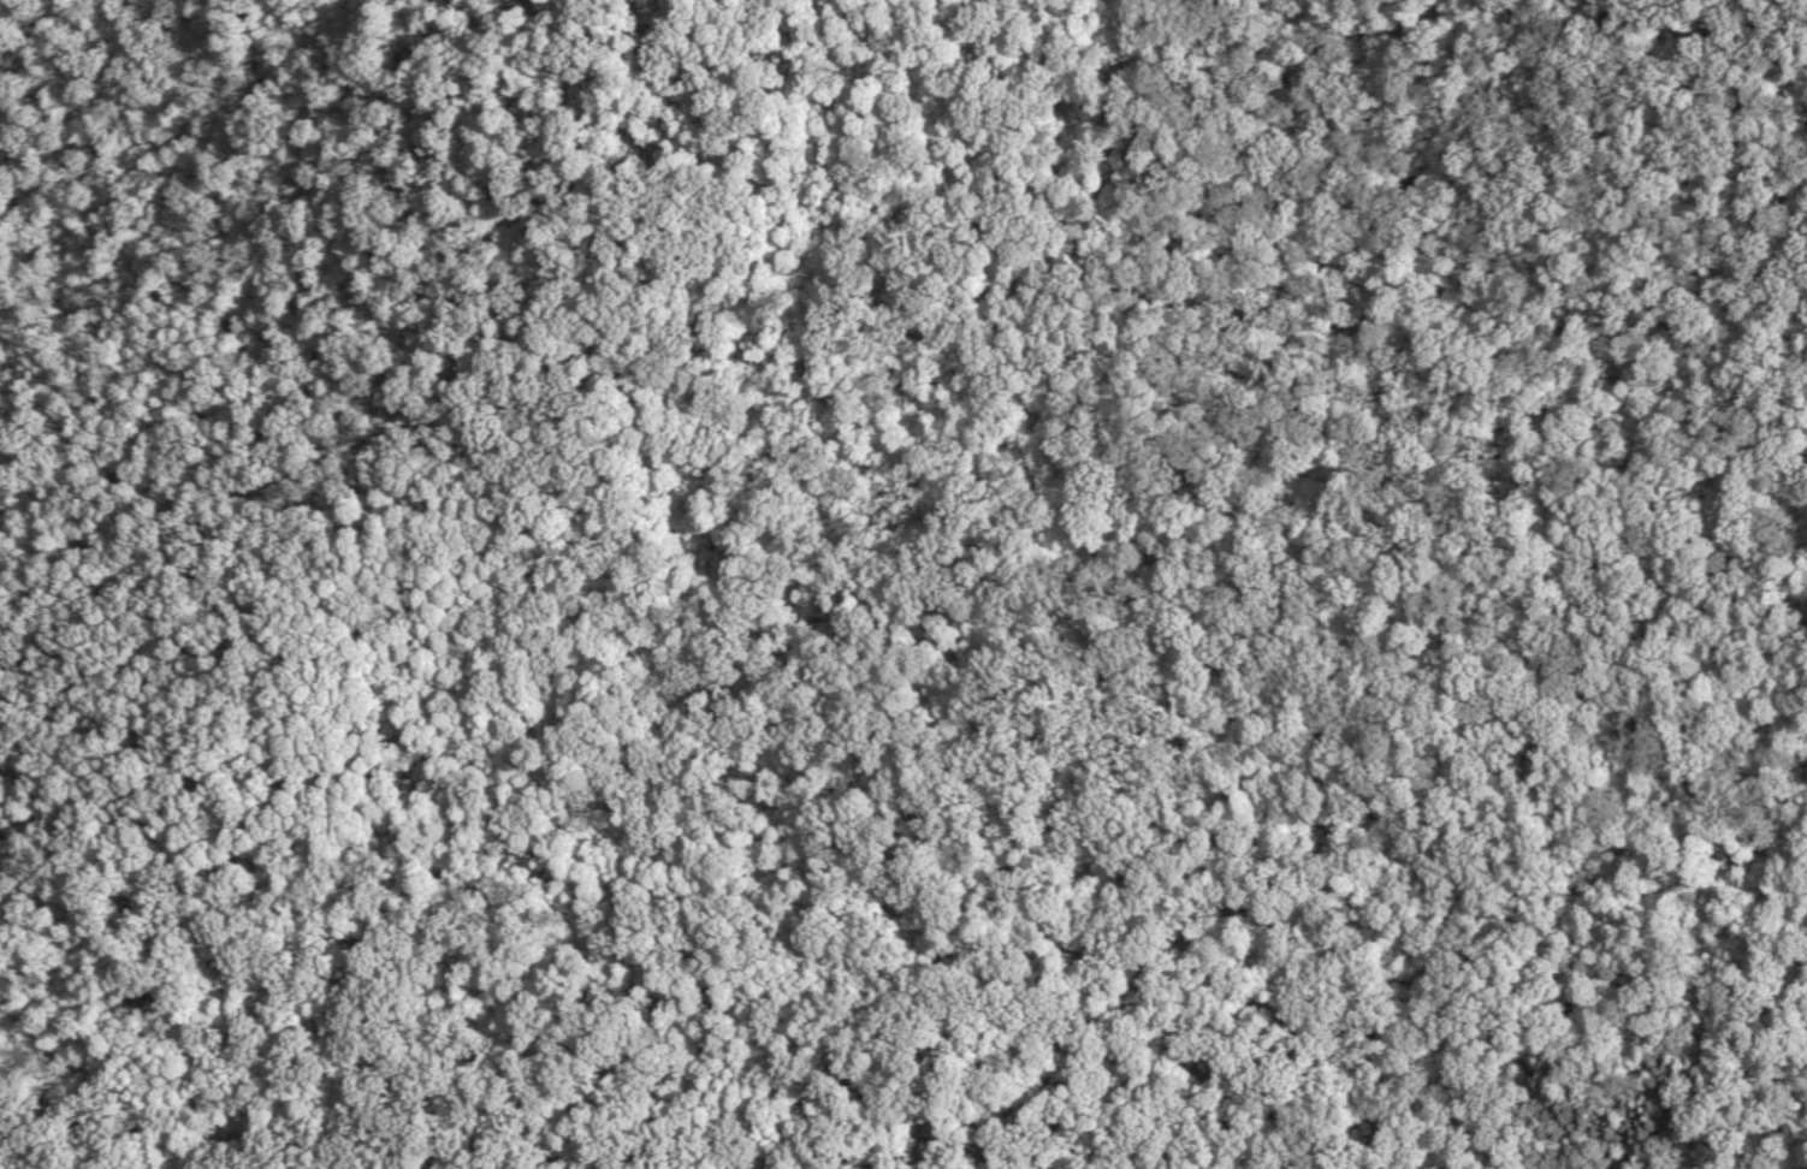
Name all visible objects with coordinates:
road: (1766, 14)
road: (1636, 125)
road: (397, 178)
road: (764, 224)
park: (904, 584)
road: (615, 671)

